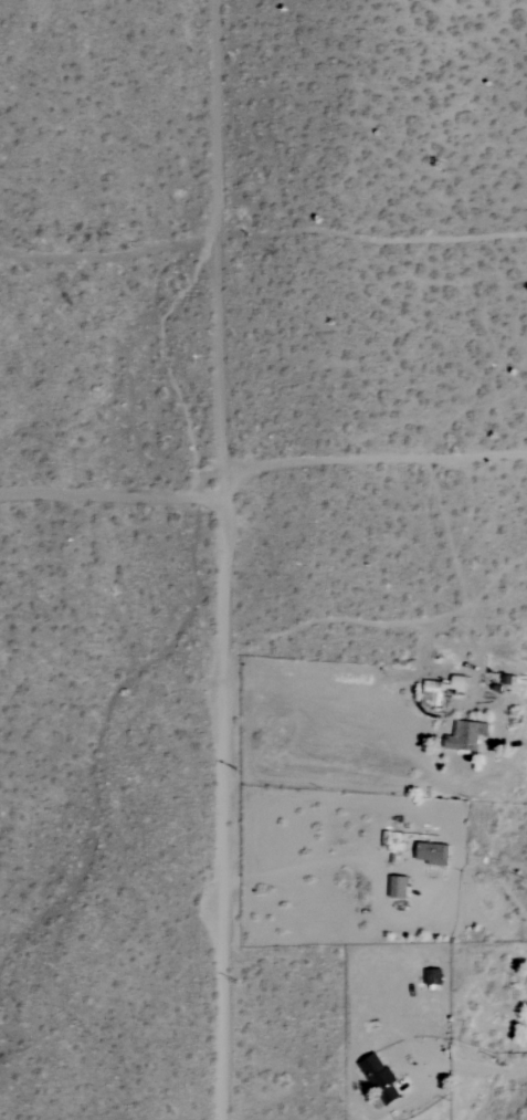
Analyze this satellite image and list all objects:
road: (219, 119)
road: (370, 461)
road: (110, 498)
road: (221, 679)
road: (310, 687)
building: (442, 689)
building: (466, 736)
building: (432, 854)
road: (292, 869)
building: (399, 887)
road: (493, 1066)
building: (380, 1078)

